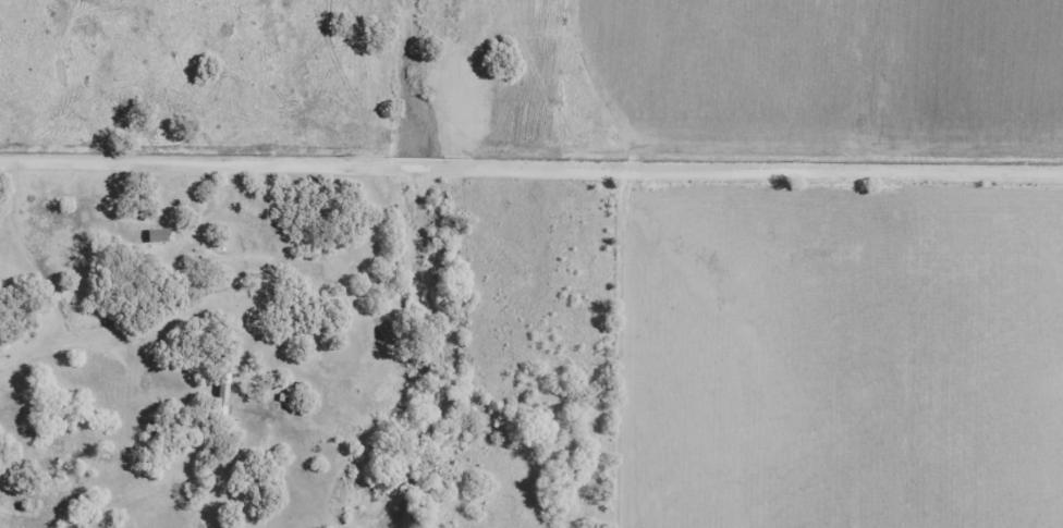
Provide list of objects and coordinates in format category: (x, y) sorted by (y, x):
road: (530, 164)
building: (156, 234)
building: (221, 393)
building: (282, 482)

